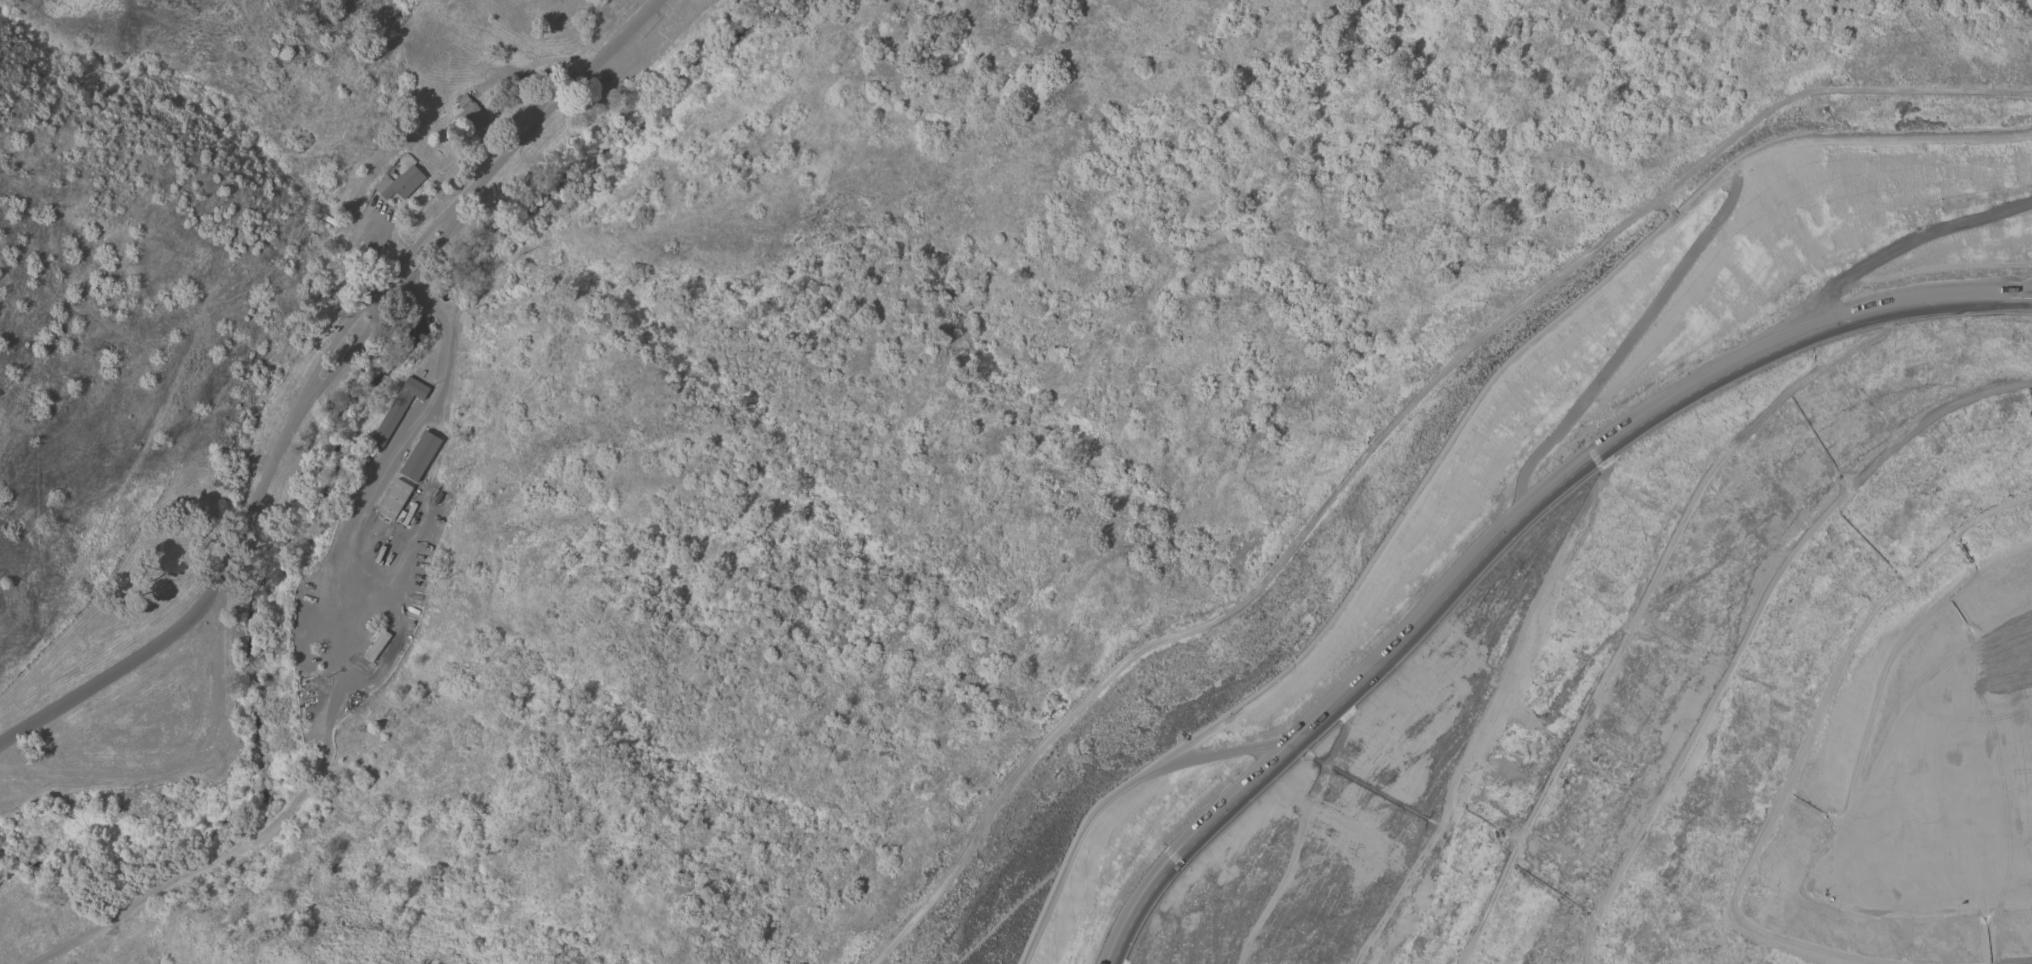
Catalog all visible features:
building: (469, 110)
building: (402, 183)
road: (1916, 304)
road: (319, 371)
building: (397, 408)
road: (1457, 440)
building: (419, 456)
building: (393, 498)
road: (1421, 609)
landfill: (1614, 617)
landfill: (1614, 617)
building: (375, 645)
road: (333, 669)
road: (193, 759)

